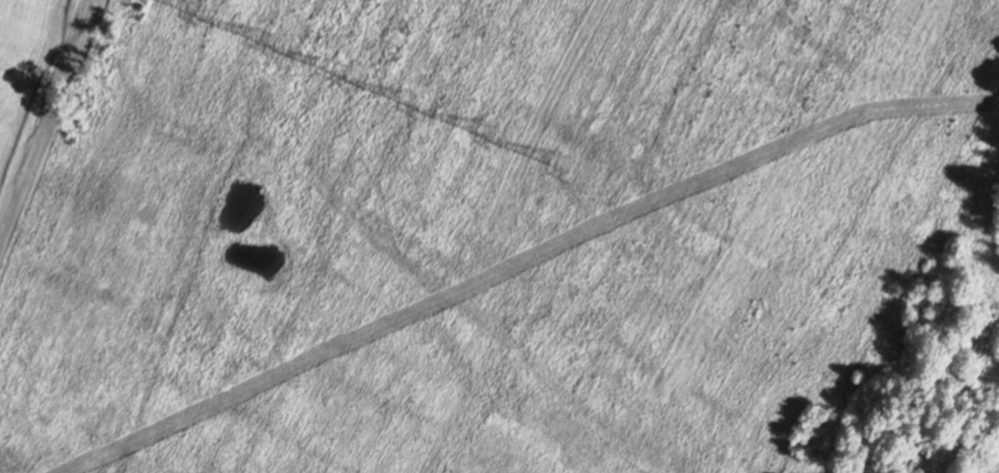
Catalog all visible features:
power tower: (188, 8)
power tower: (261, 39)
power tower: (338, 68)
power tower: (407, 101)
power tower: (488, 155)
power tower: (556, 162)

